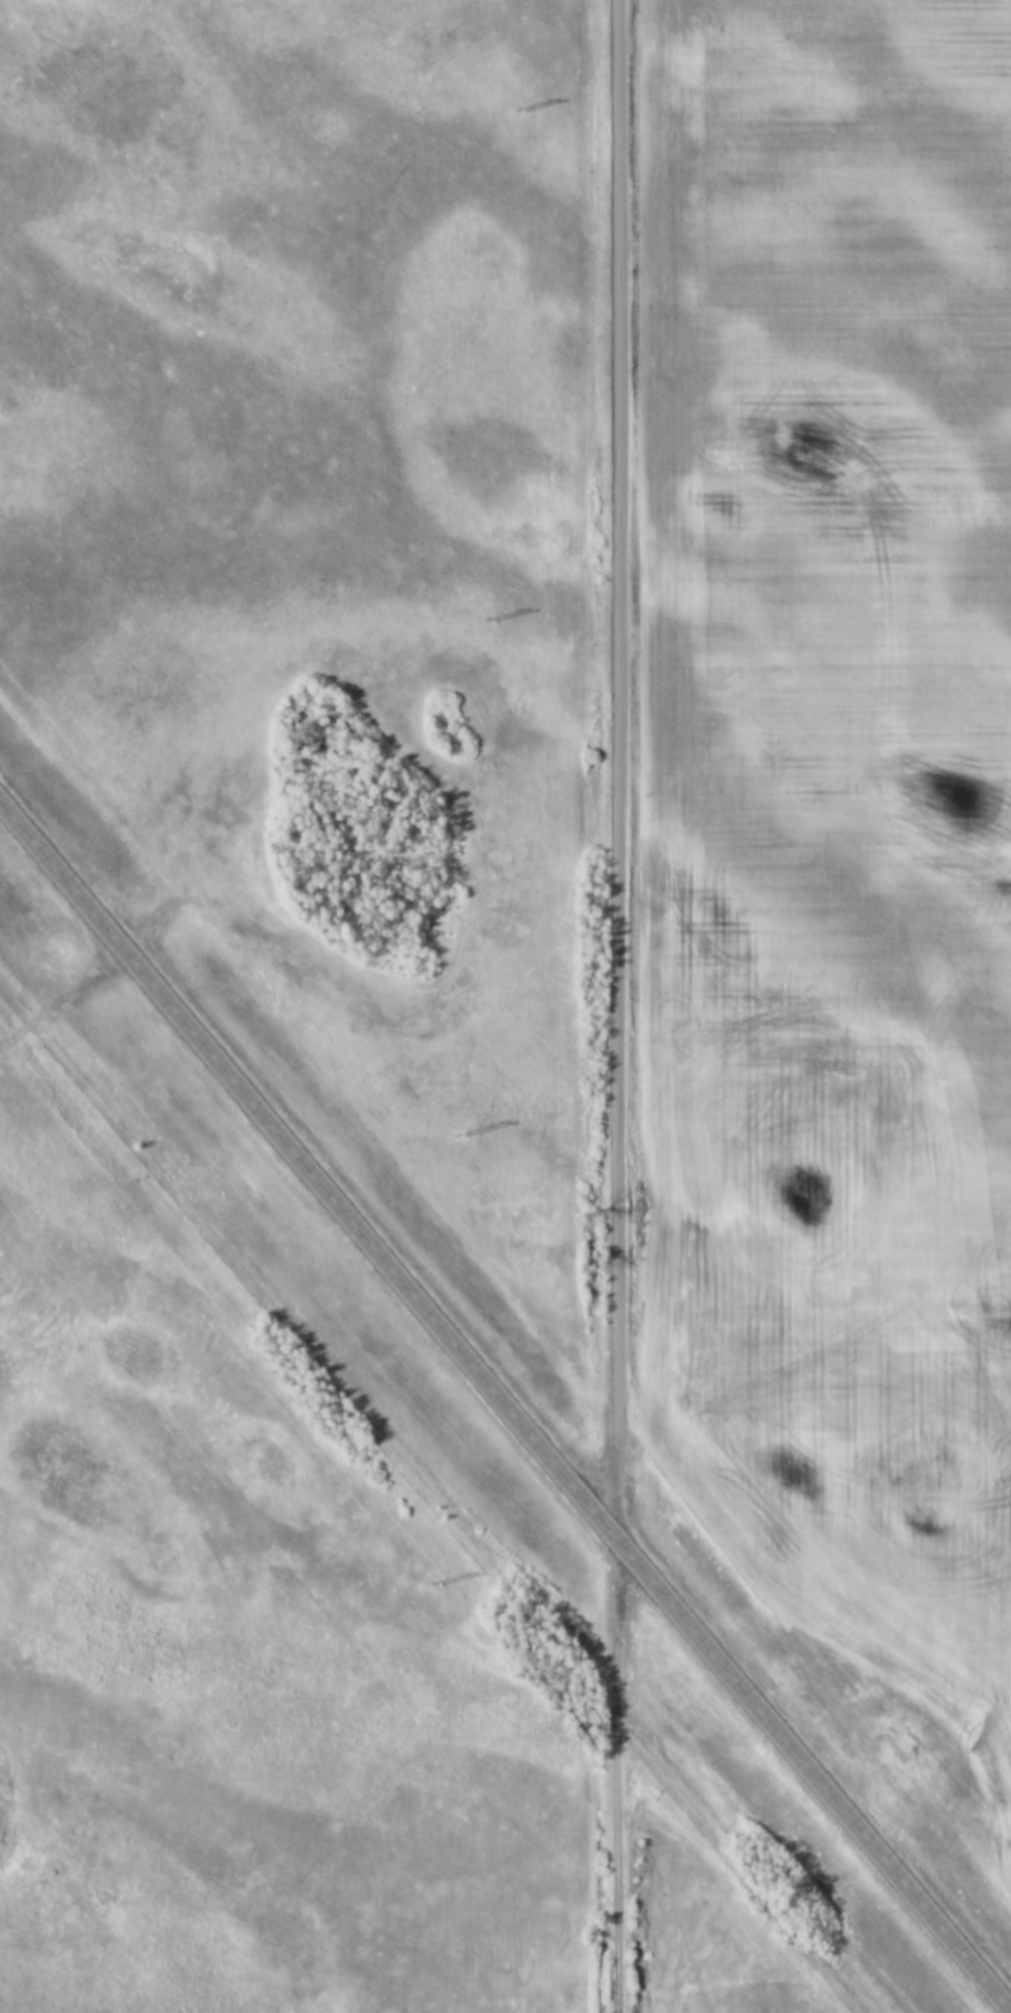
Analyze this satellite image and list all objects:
power tower: (520, 111)
power tower: (489, 620)
road: (616, 766)
power tower: (461, 1131)
road: (504, 1401)
power tower: (432, 1586)
road: (612, 1772)

